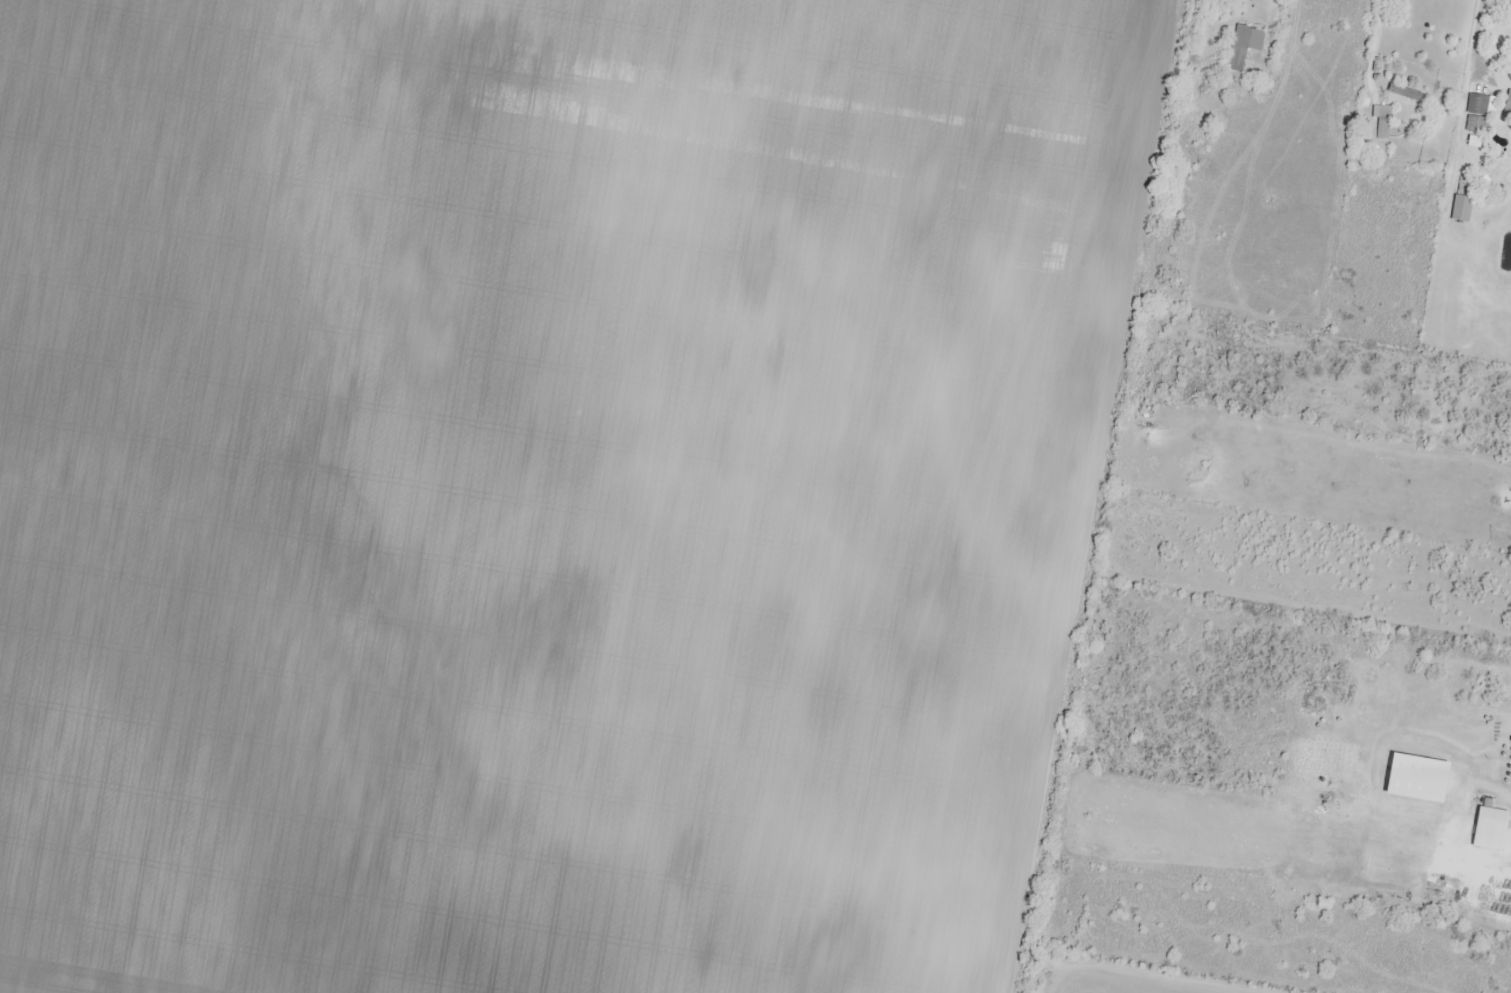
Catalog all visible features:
building: (1245, 46)
building: (1508, 105)
building: (1381, 112)
building: (1383, 131)
building: (1461, 209)
building: (1488, 830)

